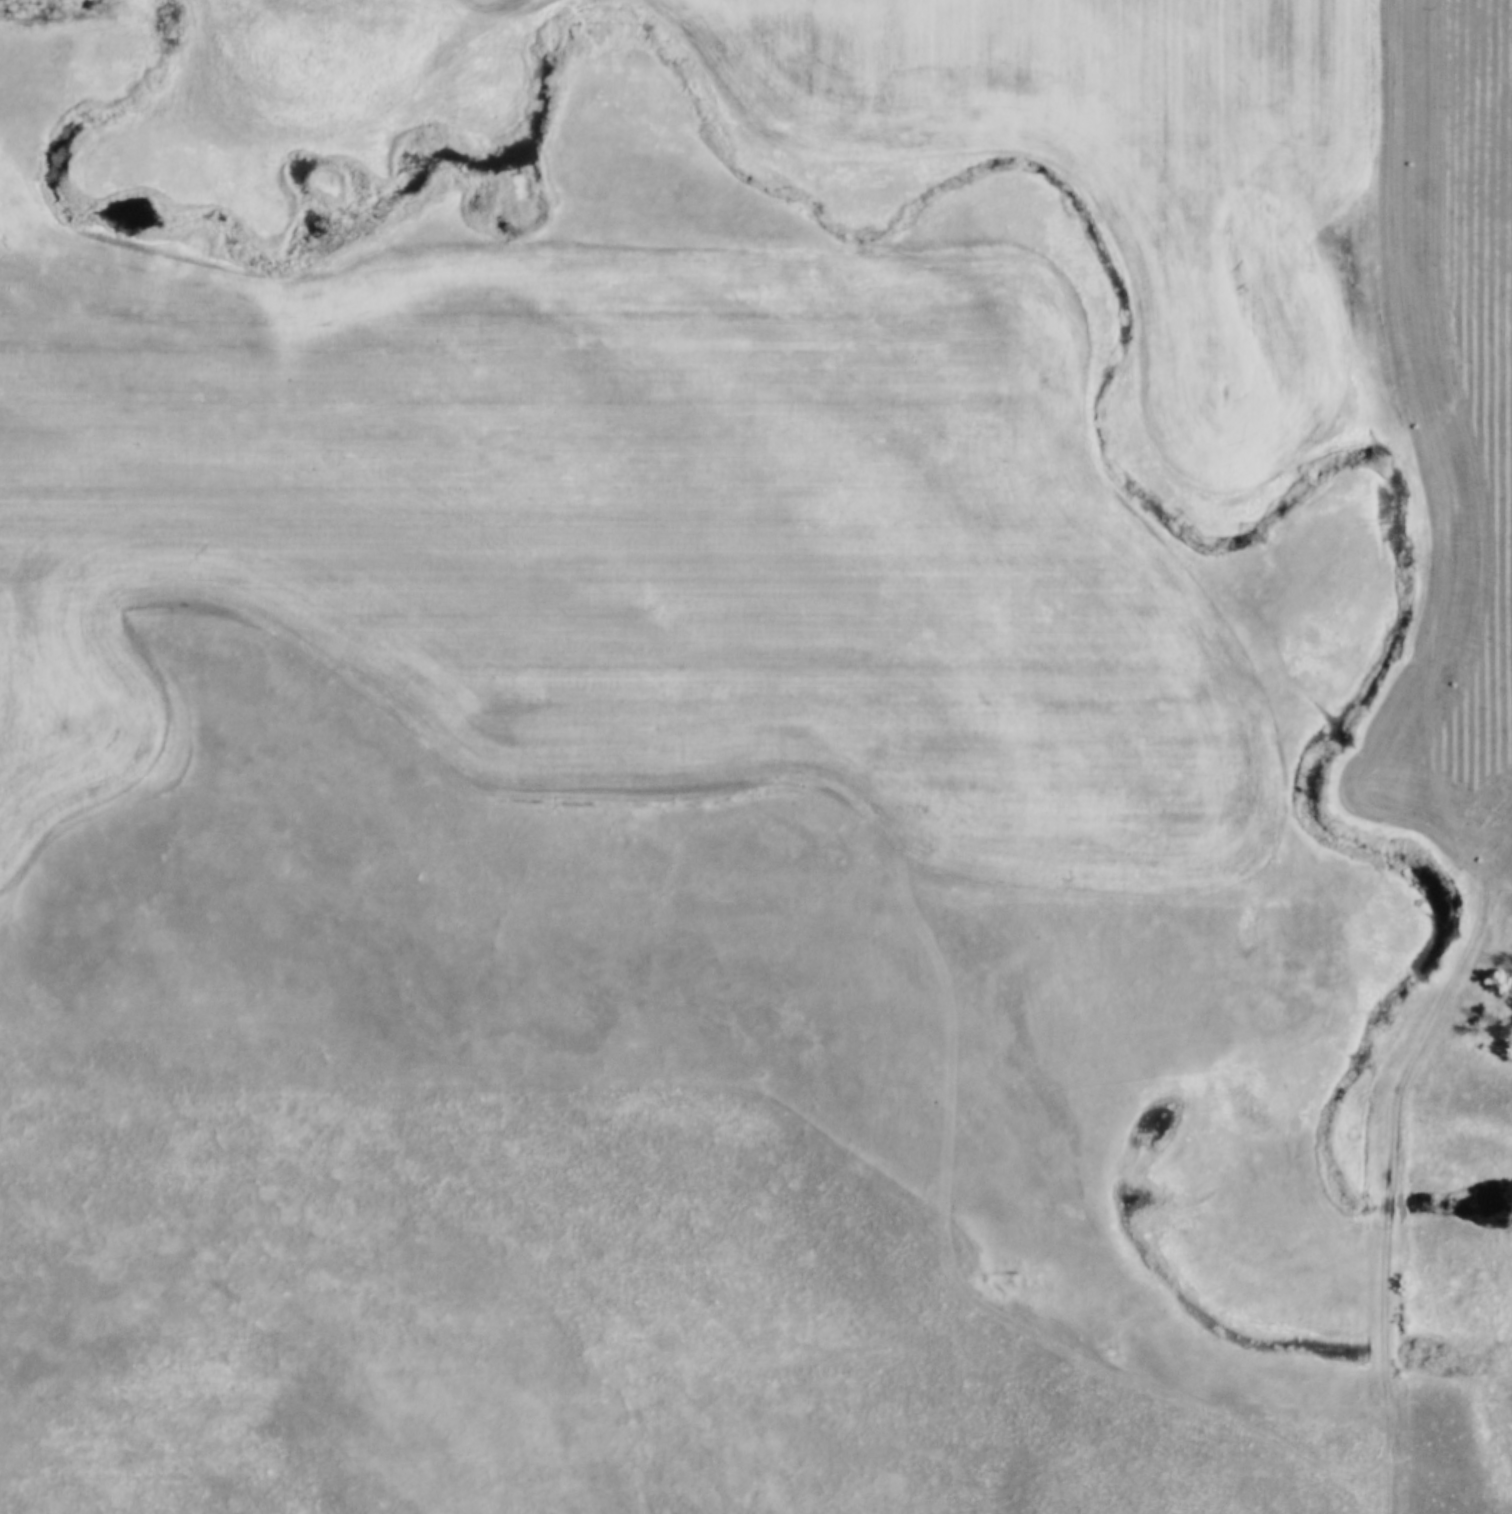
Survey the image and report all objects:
road: (1433, 769)

